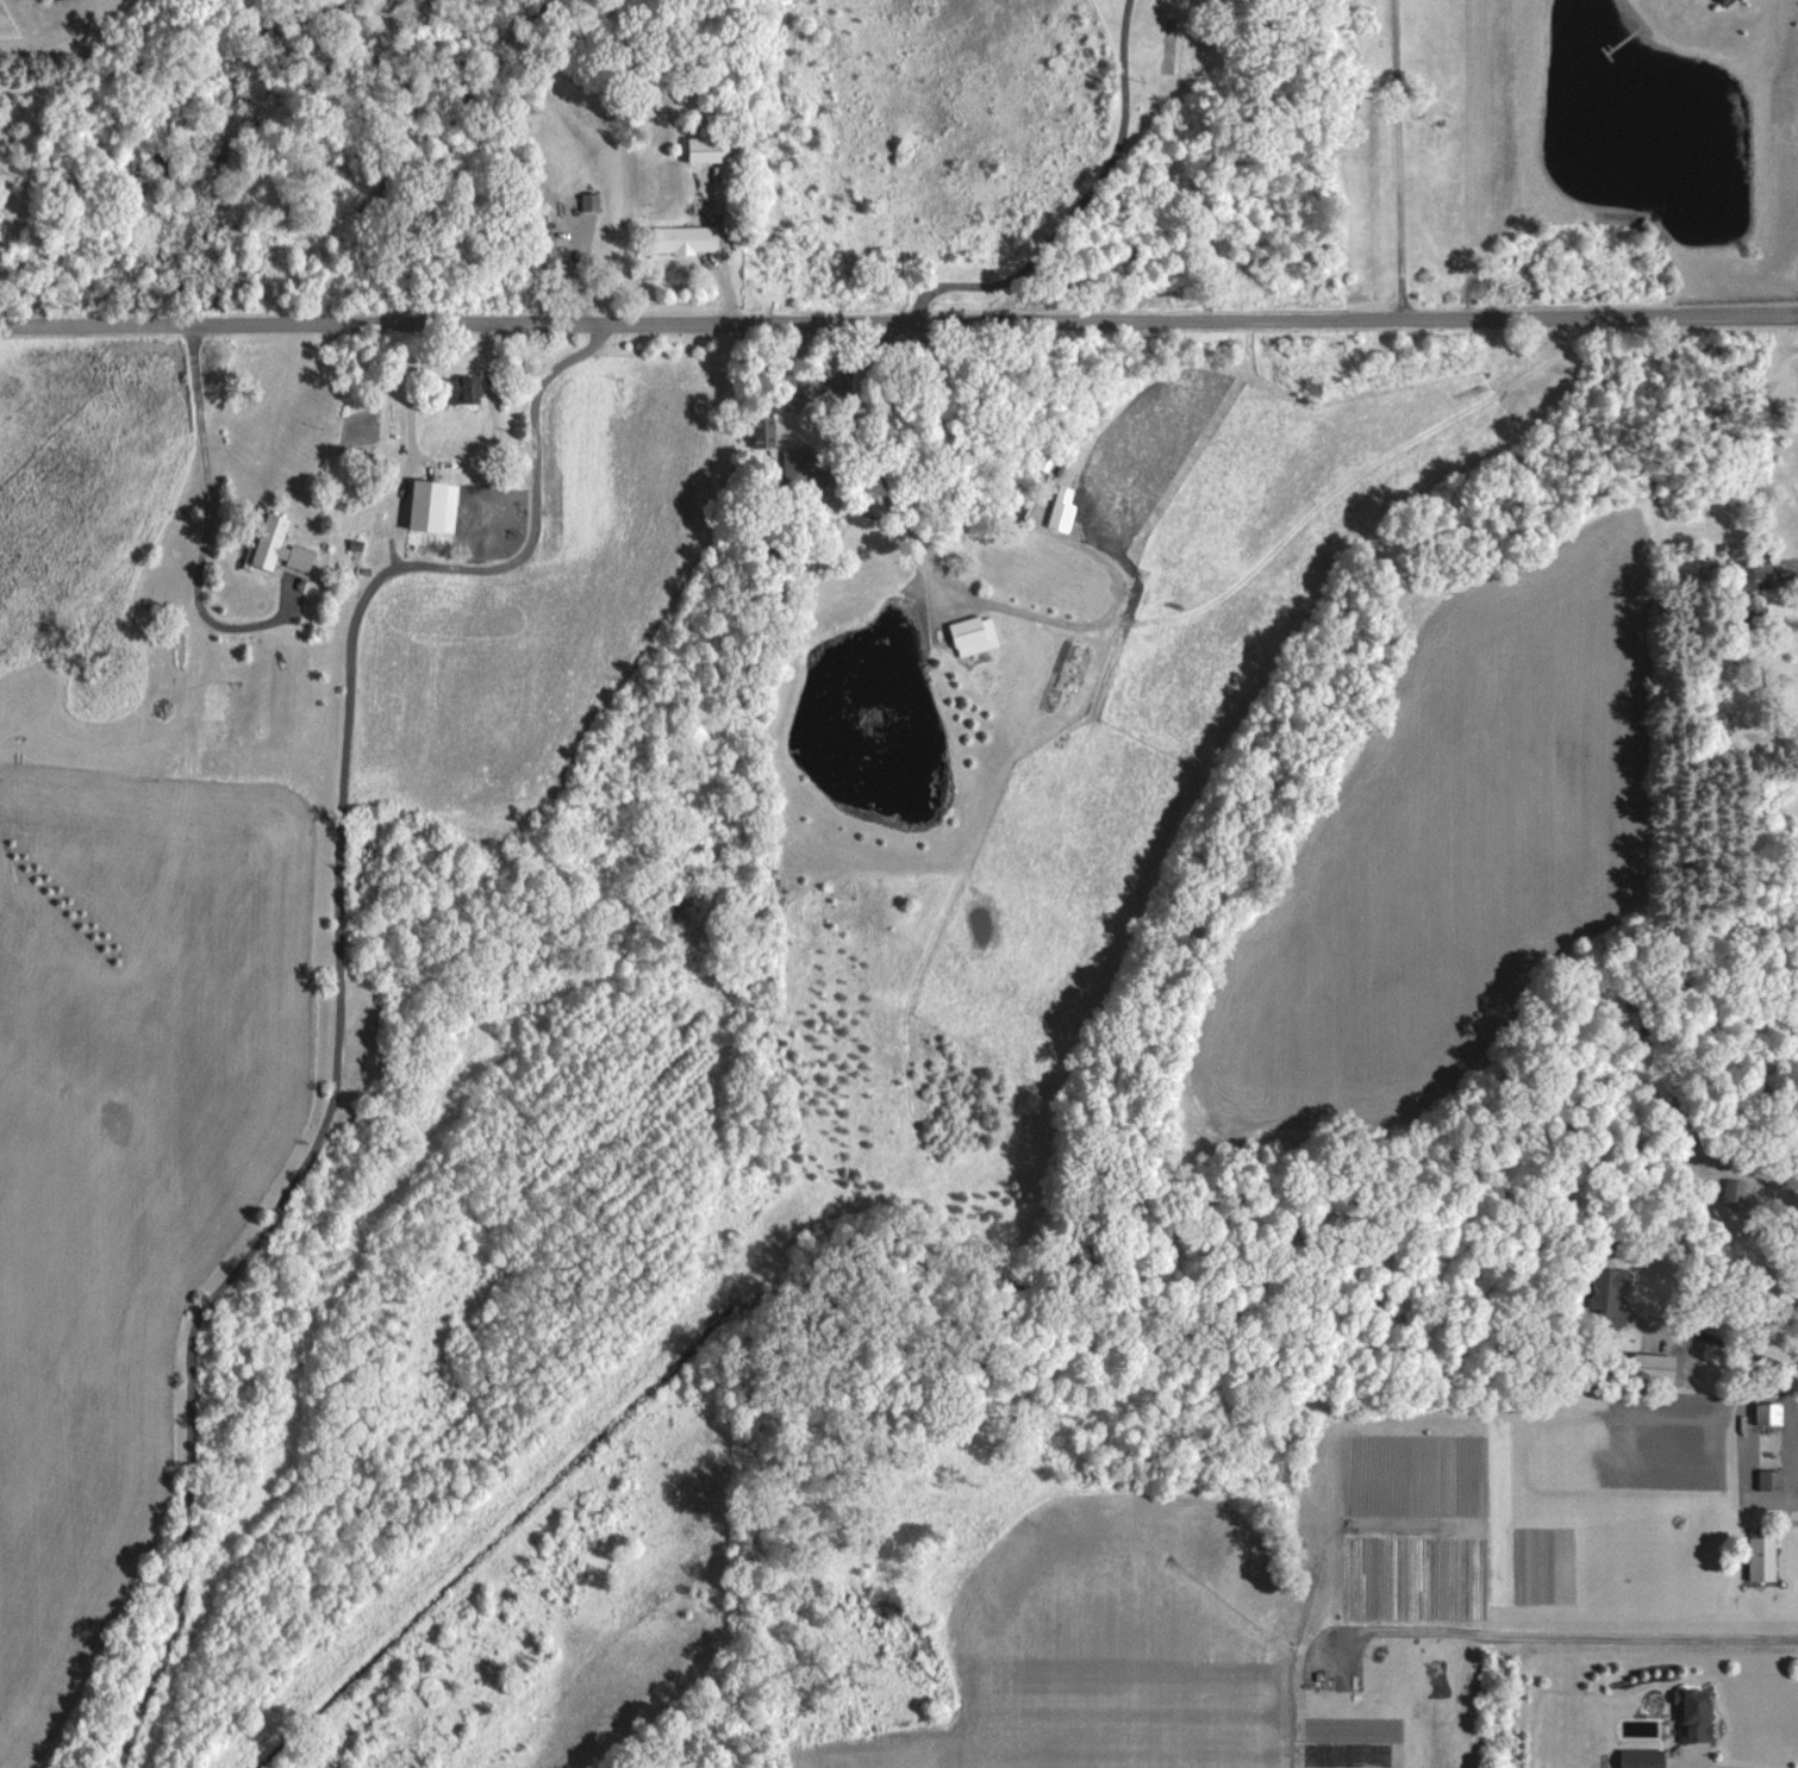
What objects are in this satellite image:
building: (1723, 1)
building: (707, 149)
road: (1398, 161)
building: (685, 239)
road: (898, 323)
road: (823, 387)
building: (458, 391)
building: (766, 430)
building: (803, 467)
building: (435, 506)
building: (1022, 510)
road: (205, 513)
building: (280, 546)
building: (1742, 577)
road: (963, 593)
building: (968, 631)
road: (341, 989)
building: (1605, 1294)
building: (1656, 1364)
building: (1771, 1414)
road: (1768, 1443)
road: (1744, 1450)
road: (1793, 1452)
road: (1796, 1466)
building: (1766, 1480)
building: (1762, 1558)
building: (1697, 1716)
building: (1642, 1758)
road: (1682, 1767)

